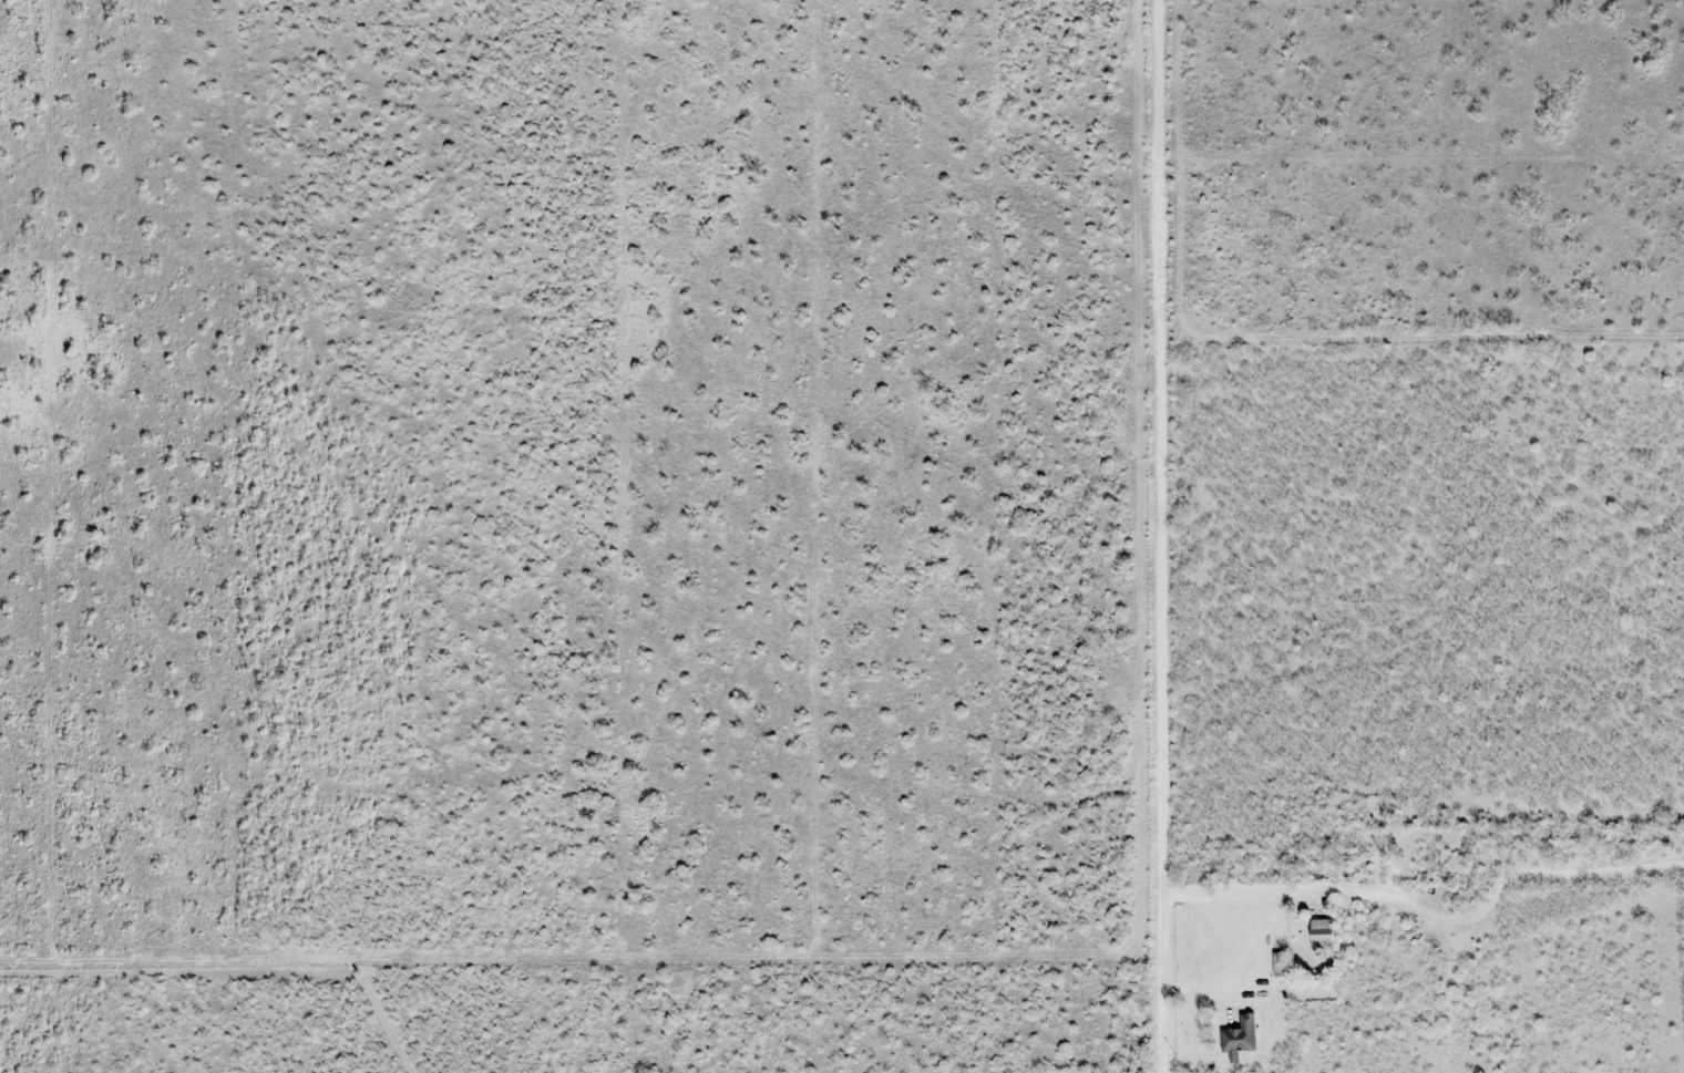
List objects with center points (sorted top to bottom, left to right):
road: (1162, 536)
building: (1325, 932)
building: (1197, 1023)

